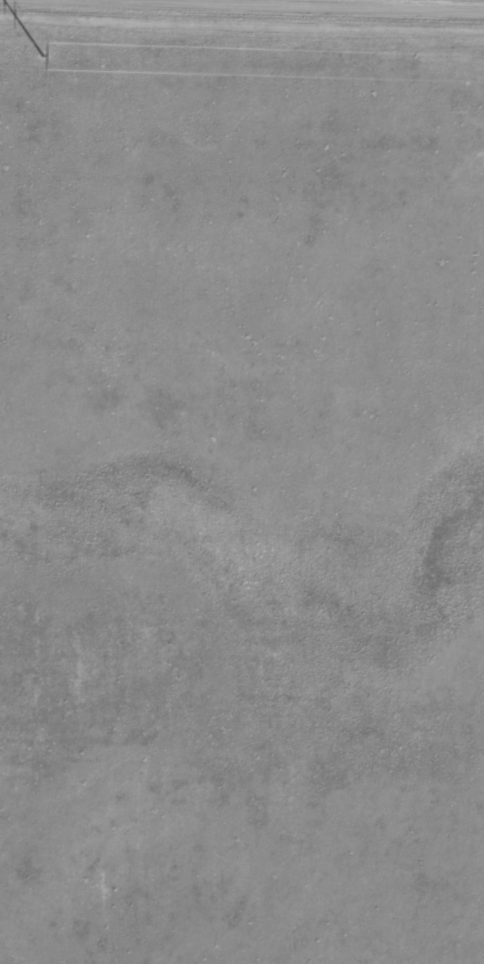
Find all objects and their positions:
road: (352, 3)
power tower: (43, 53)

